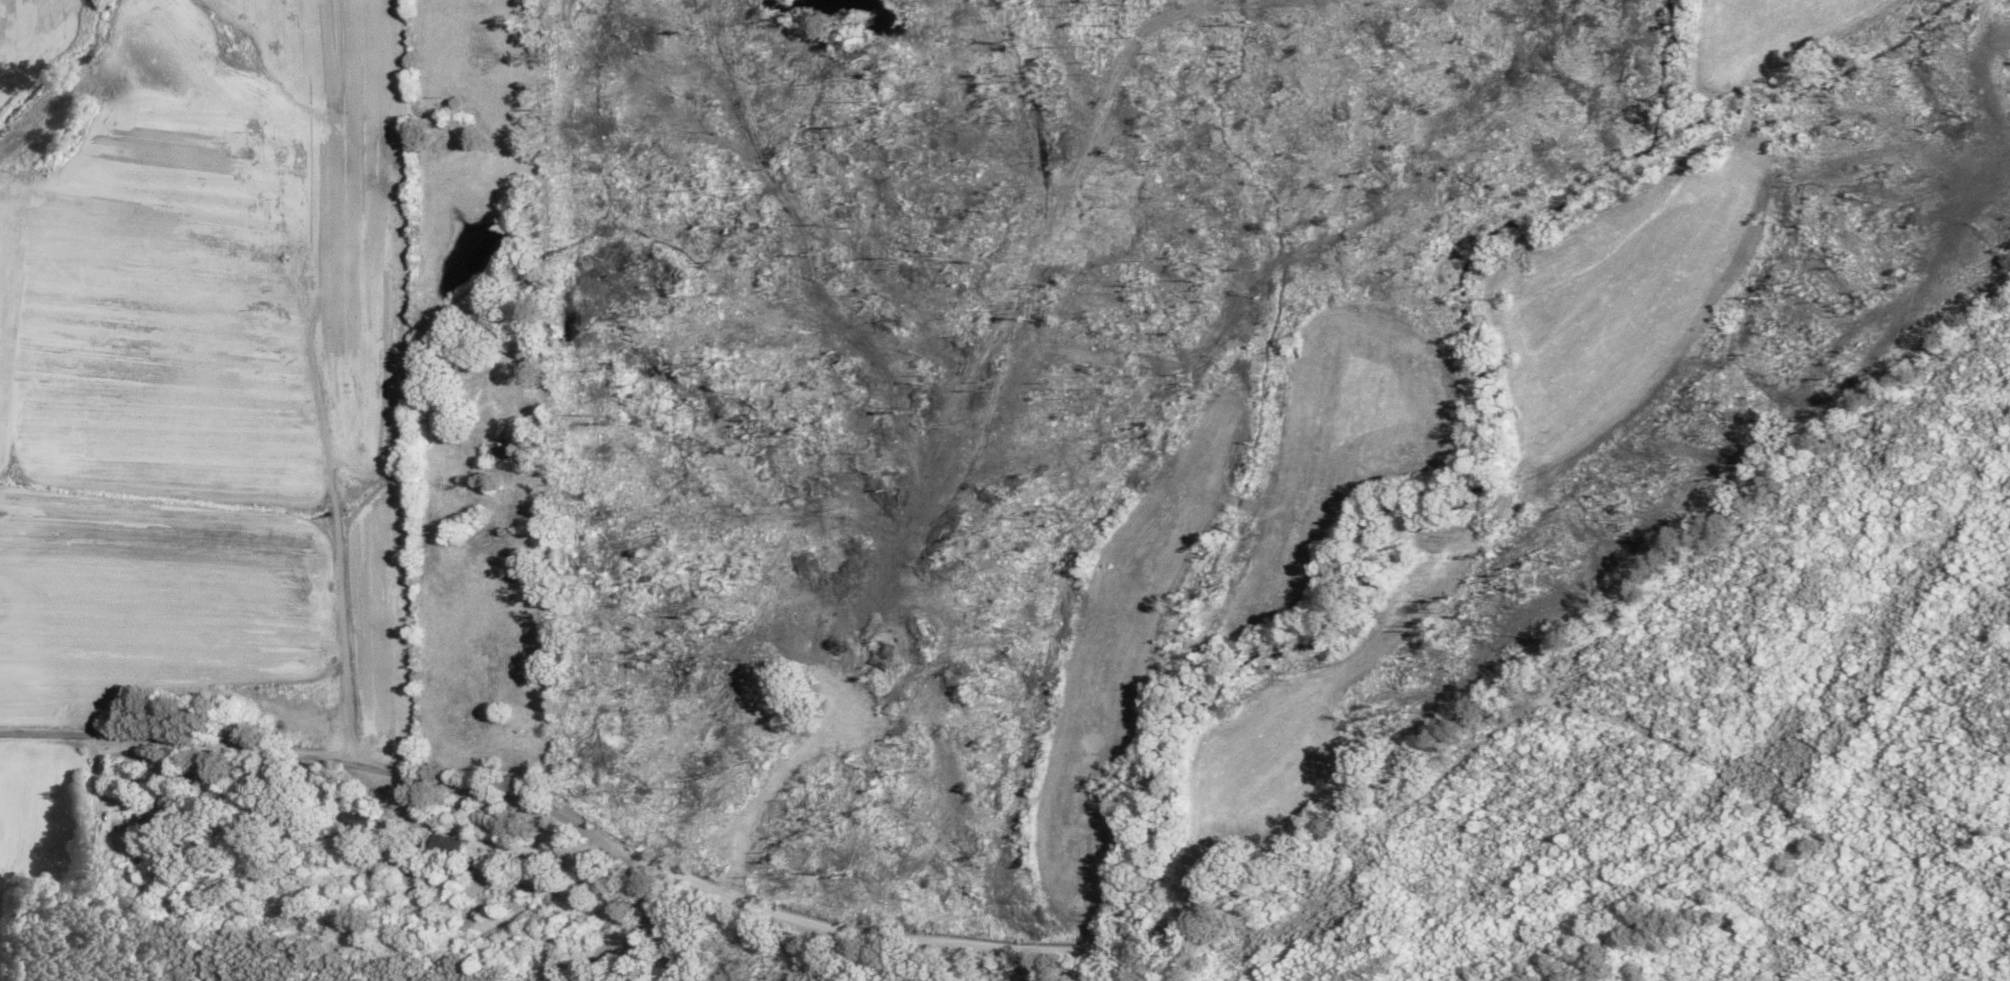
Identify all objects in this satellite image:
building: (497, 452)
road: (384, 537)
road: (726, 757)
road: (1400, 780)
road: (352, 791)
building: (360, 828)
building: (529, 877)
road: (684, 946)

